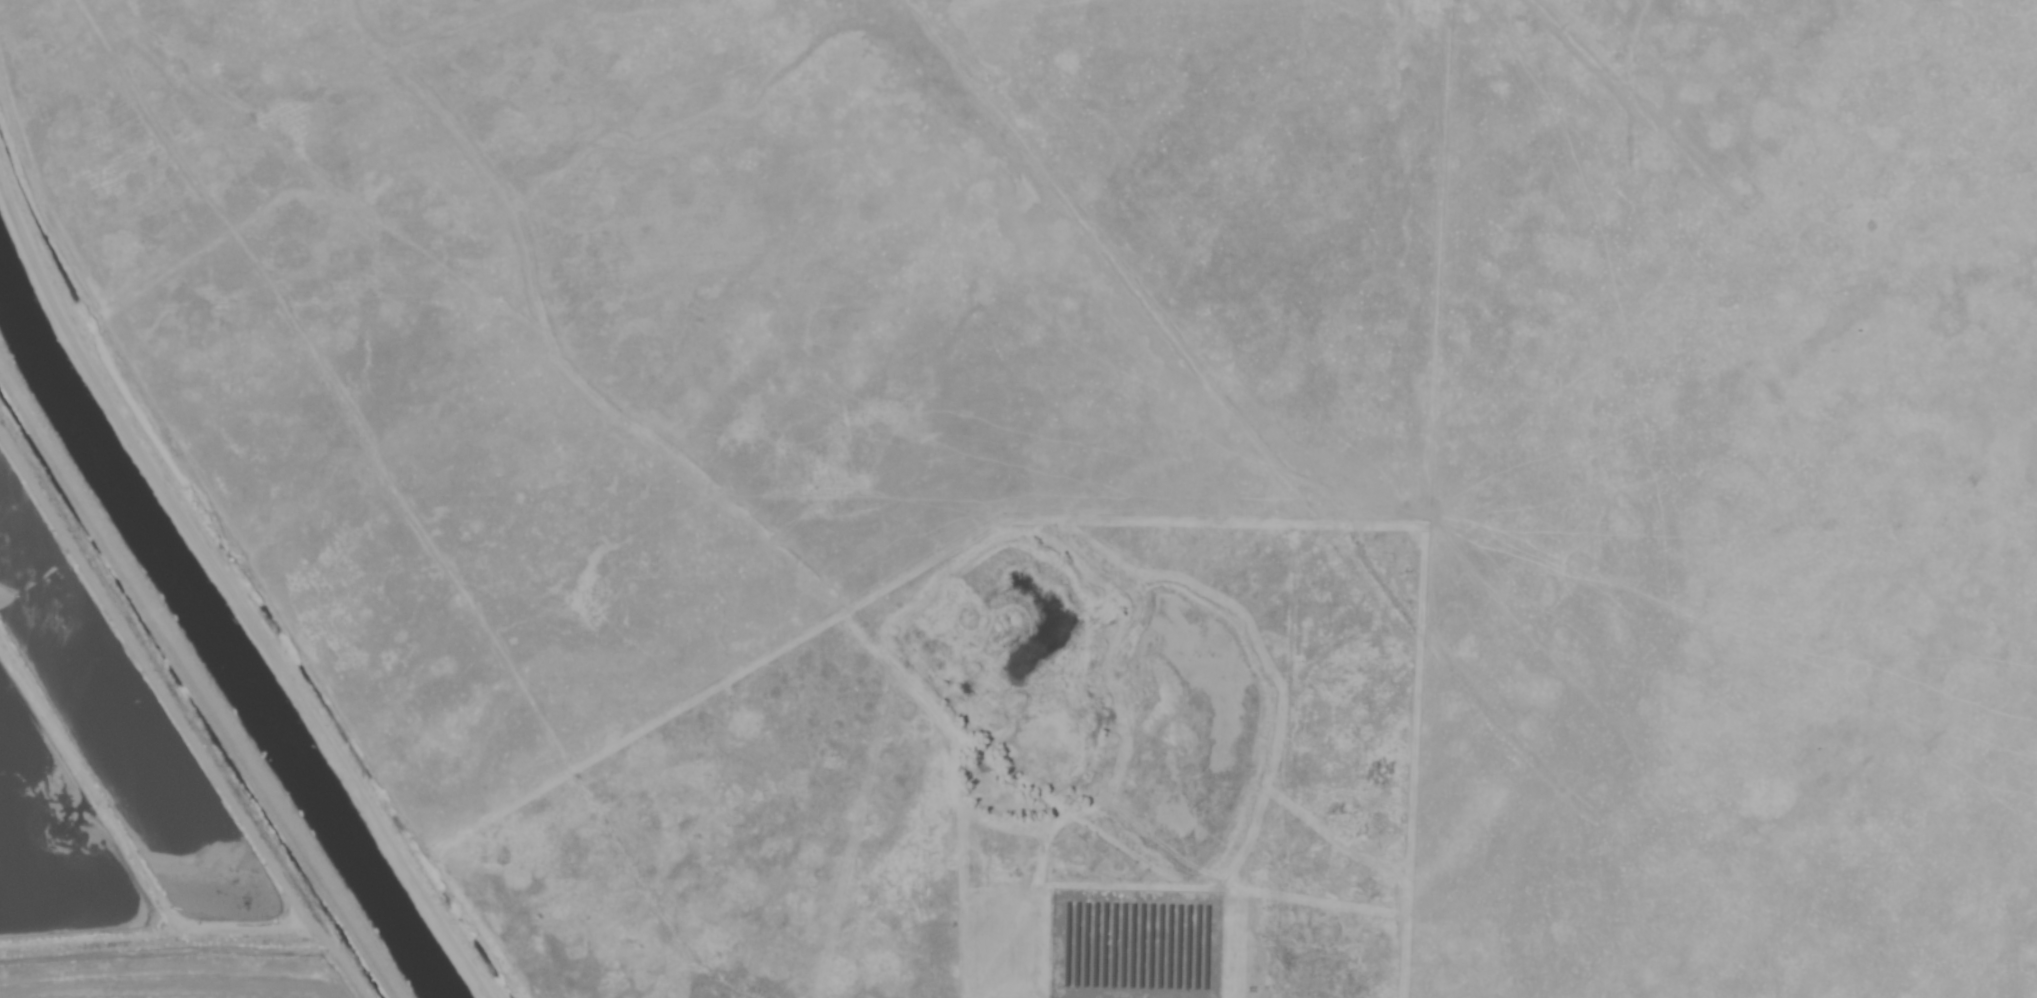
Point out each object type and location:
crop: (201, 969)

